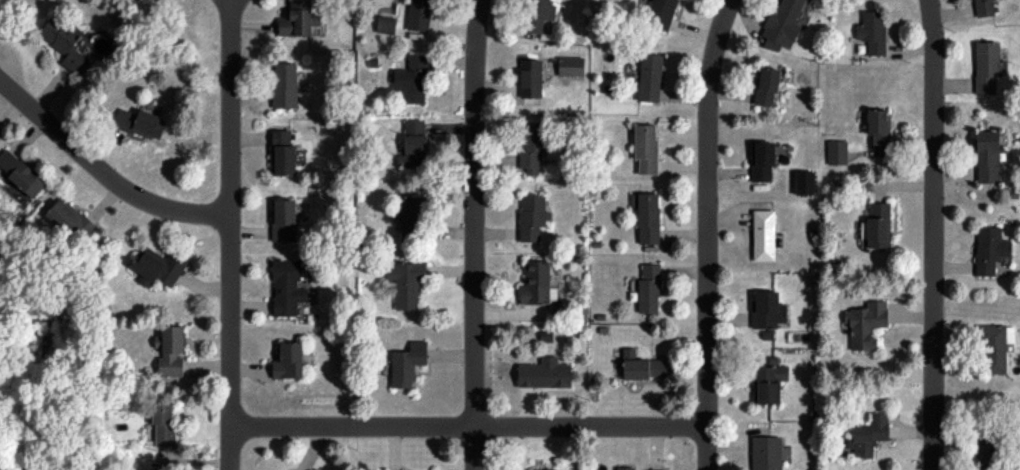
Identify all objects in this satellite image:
building: (984, 7)
building: (661, 13)
building: (419, 15)
building: (538, 15)
building: (299, 19)
building: (386, 24)
building: (782, 25)
building: (872, 31)
building: (65, 42)
building: (571, 66)
building: (986, 67)
building: (649, 77)
building: (531, 78)
building: (412, 79)
building: (285, 85)
building: (767, 86)
building: (141, 123)
building: (879, 128)
building: (0, 137)
building: (413, 144)
building: (531, 145)
building: (646, 148)
building: (282, 152)
building: (837, 152)
building: (987, 156)
building: (763, 161)
building: (21, 172)
road: (101, 175)
building: (804, 182)
building: (412, 216)
building: (532, 216)
building: (647, 216)
building: (71, 219)
building: (284, 220)
building: (878, 224)
road: (706, 233)
road: (472, 234)
building: (763, 234)
road: (931, 234)
road: (231, 235)
building: (990, 249)
building: (157, 266)
building: (536, 282)
building: (406, 284)
building: (287, 287)
building: (649, 289)
building: (768, 310)
building: (865, 323)
building: (172, 350)
building: (288, 361)
building: (407, 363)
building: (642, 366)
building: (544, 373)
building: (768, 383)
building: (164, 423)
road: (468, 430)
building: (869, 435)
building: (988, 452)
building: (766, 453)
building: (625, 468)
building: (542, 469)
building: (657, 469)

